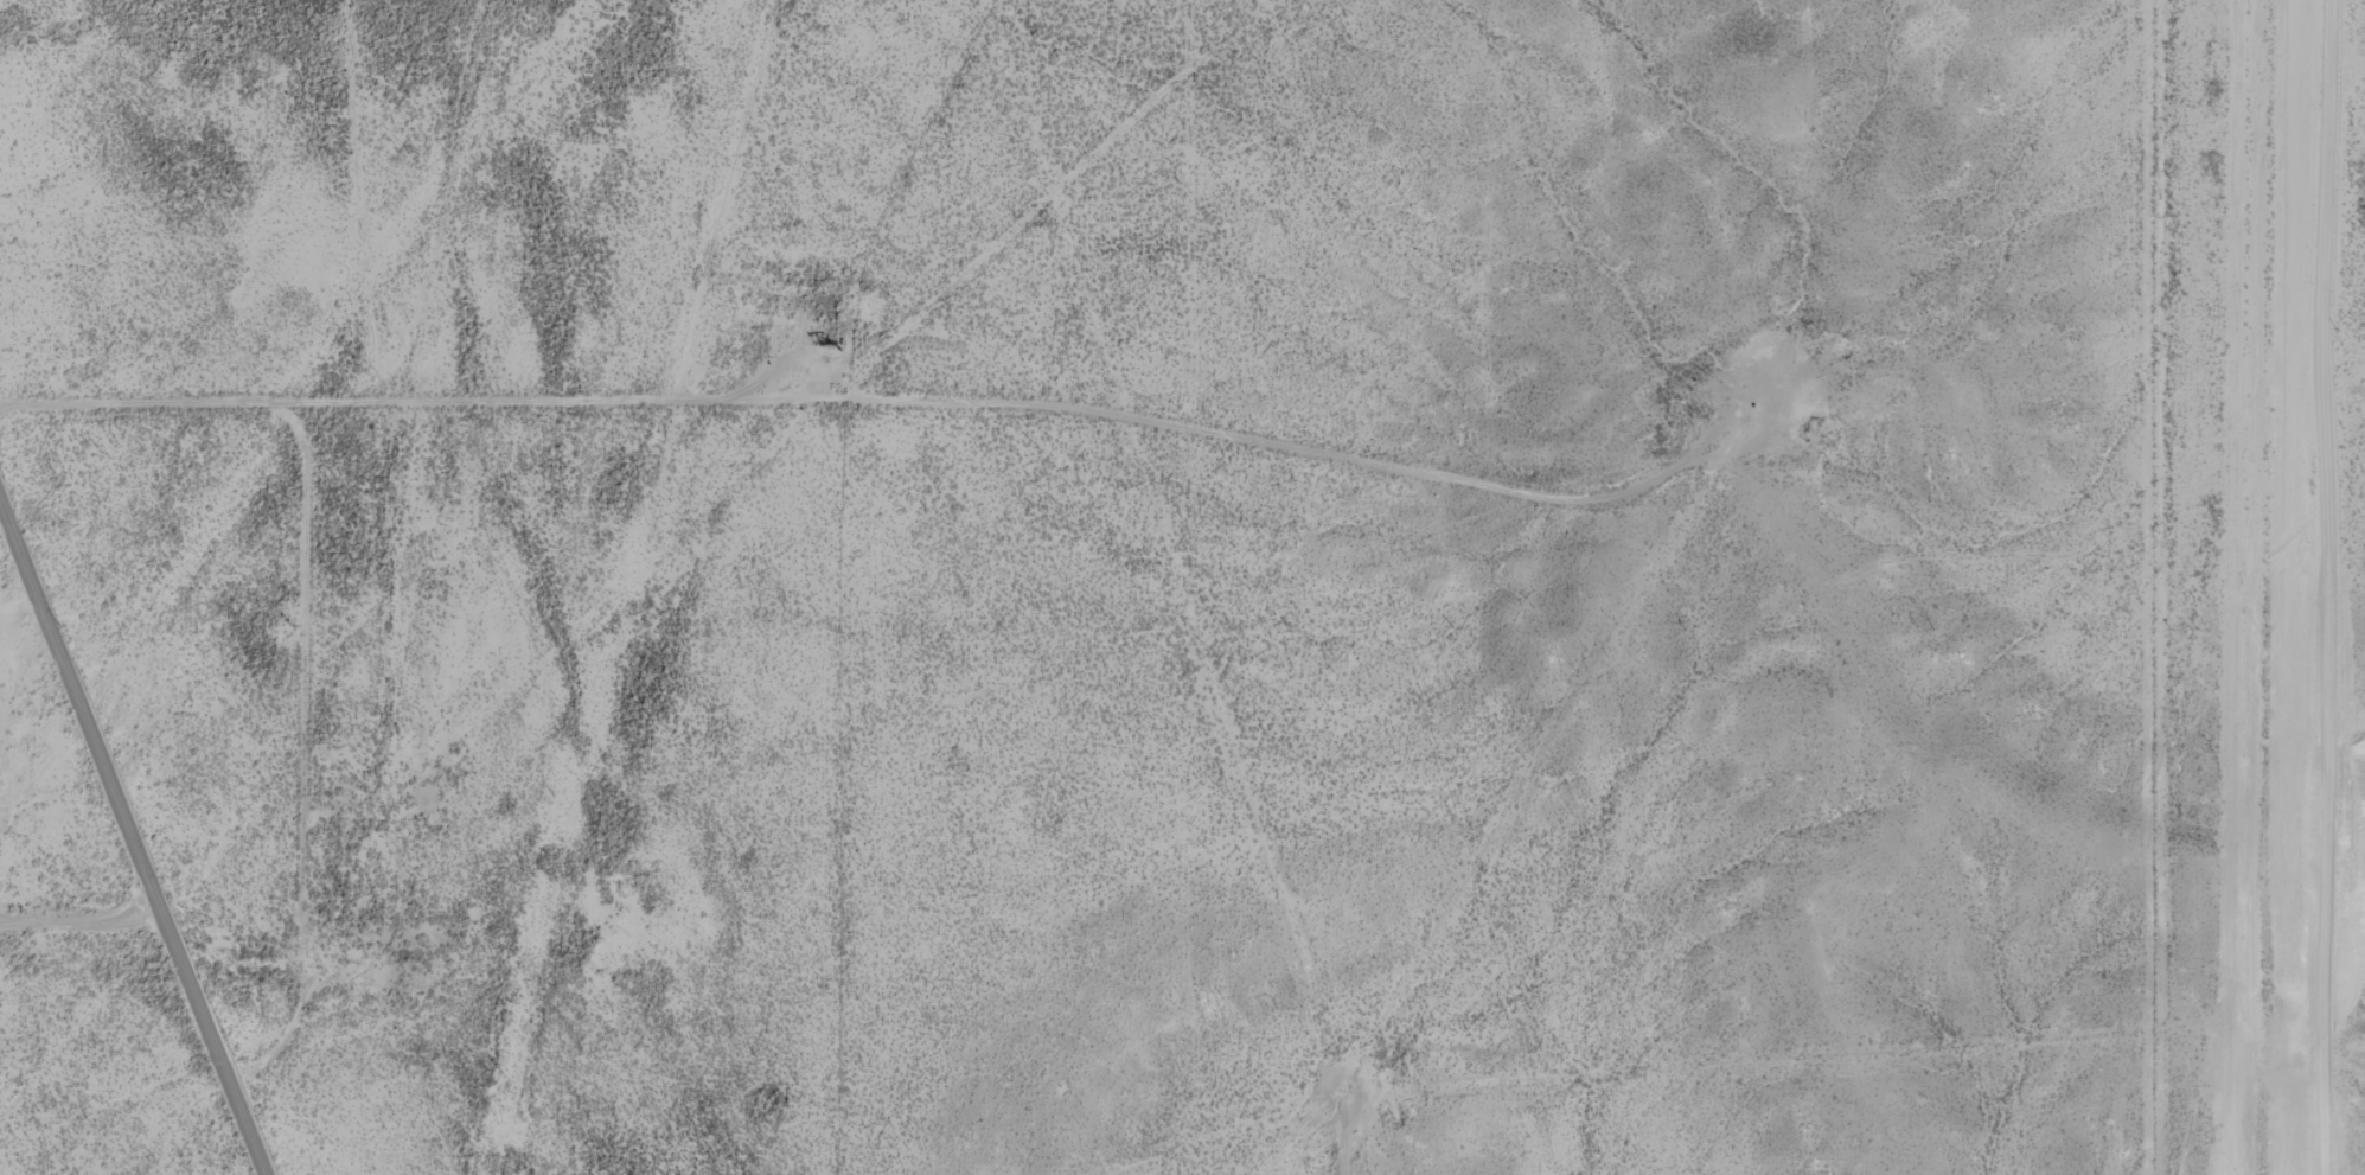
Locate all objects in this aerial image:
road: (857, 389)
road: (2129, 587)
road: (97, 899)

